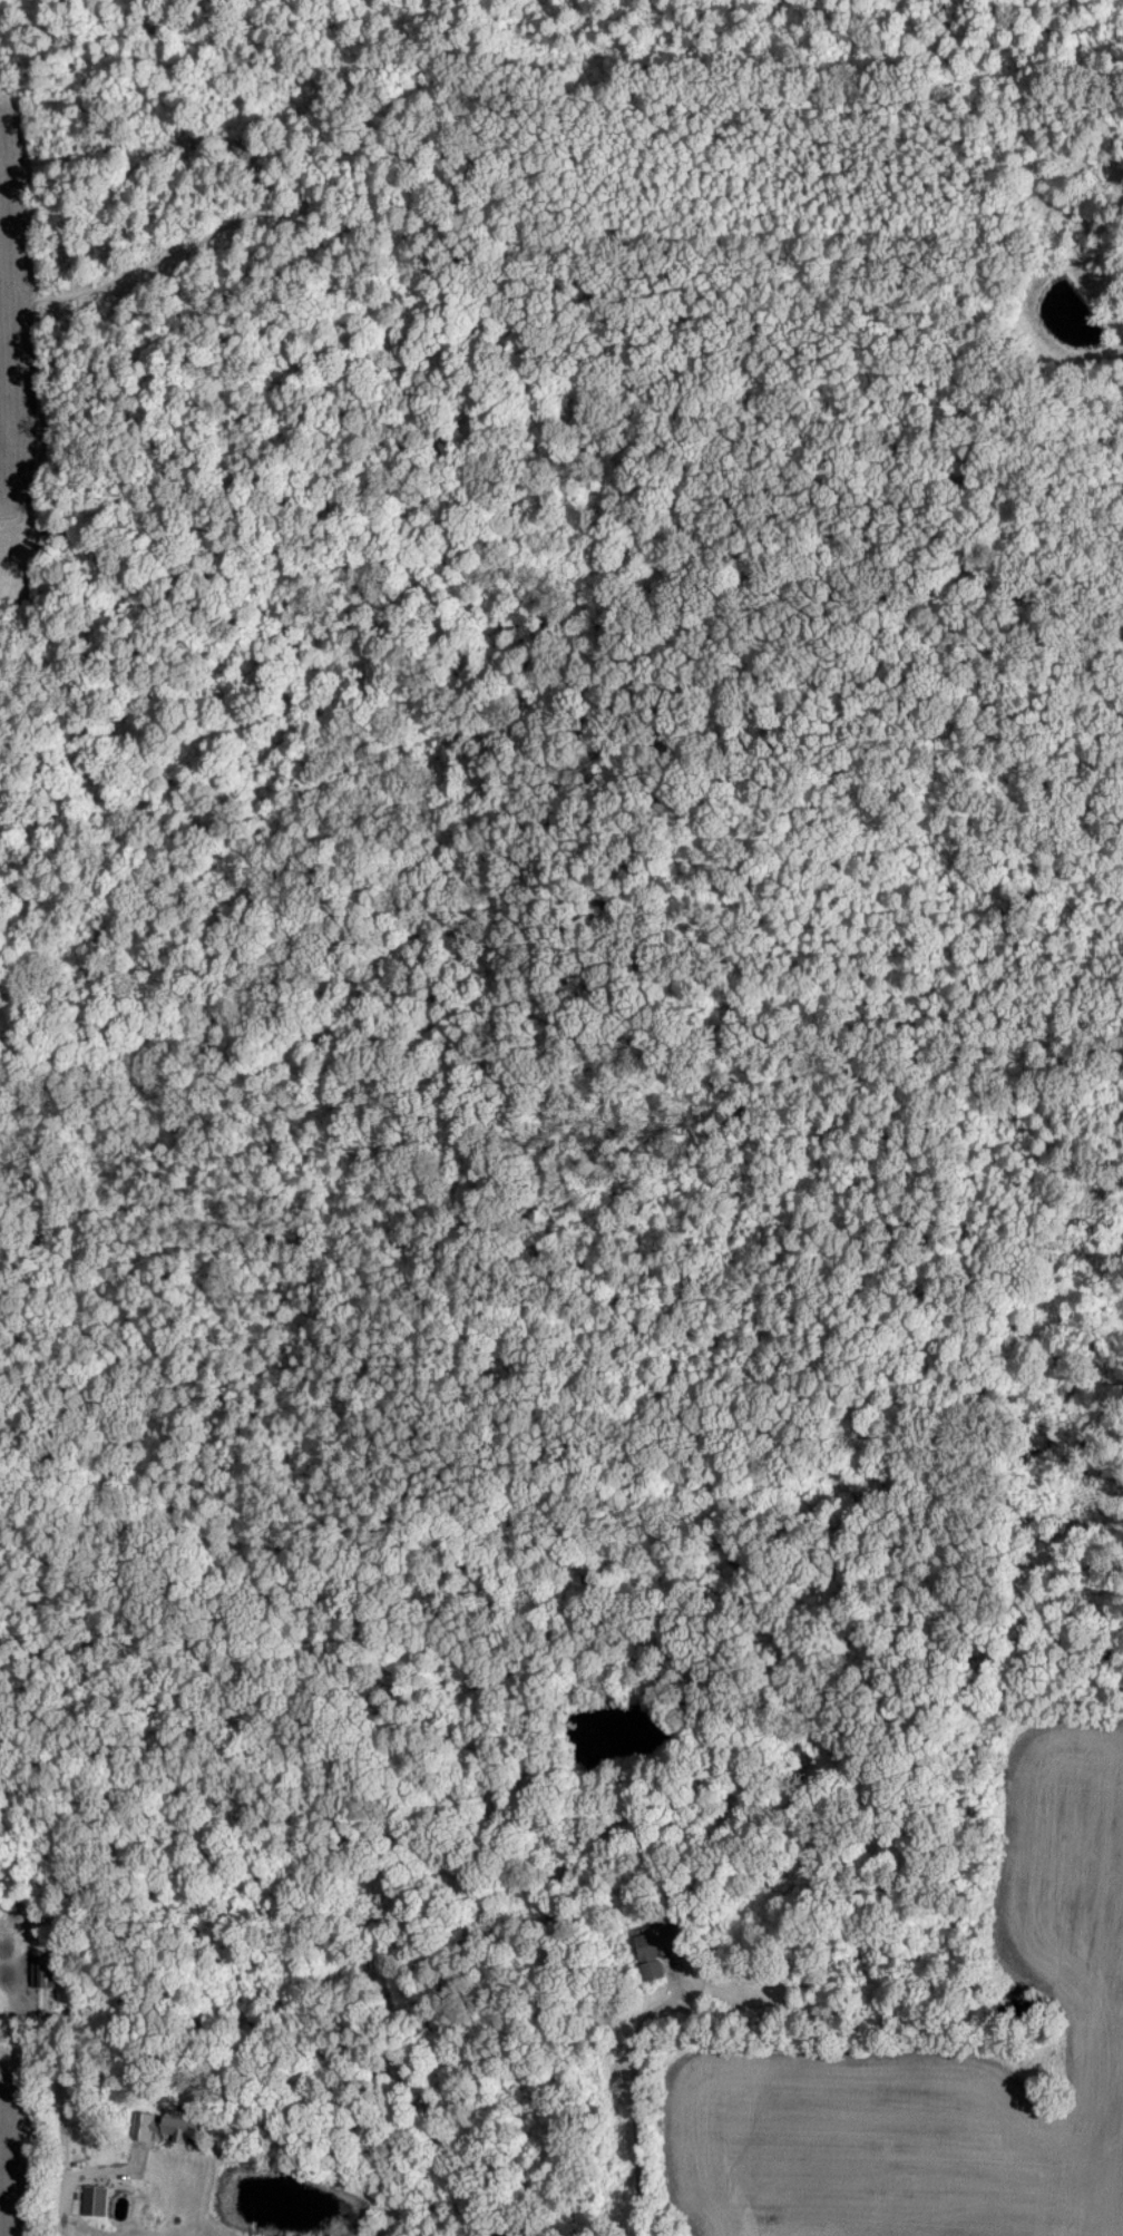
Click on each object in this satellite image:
building: (650, 1951)
building: (40, 1970)
building: (162, 2126)
building: (91, 2198)

